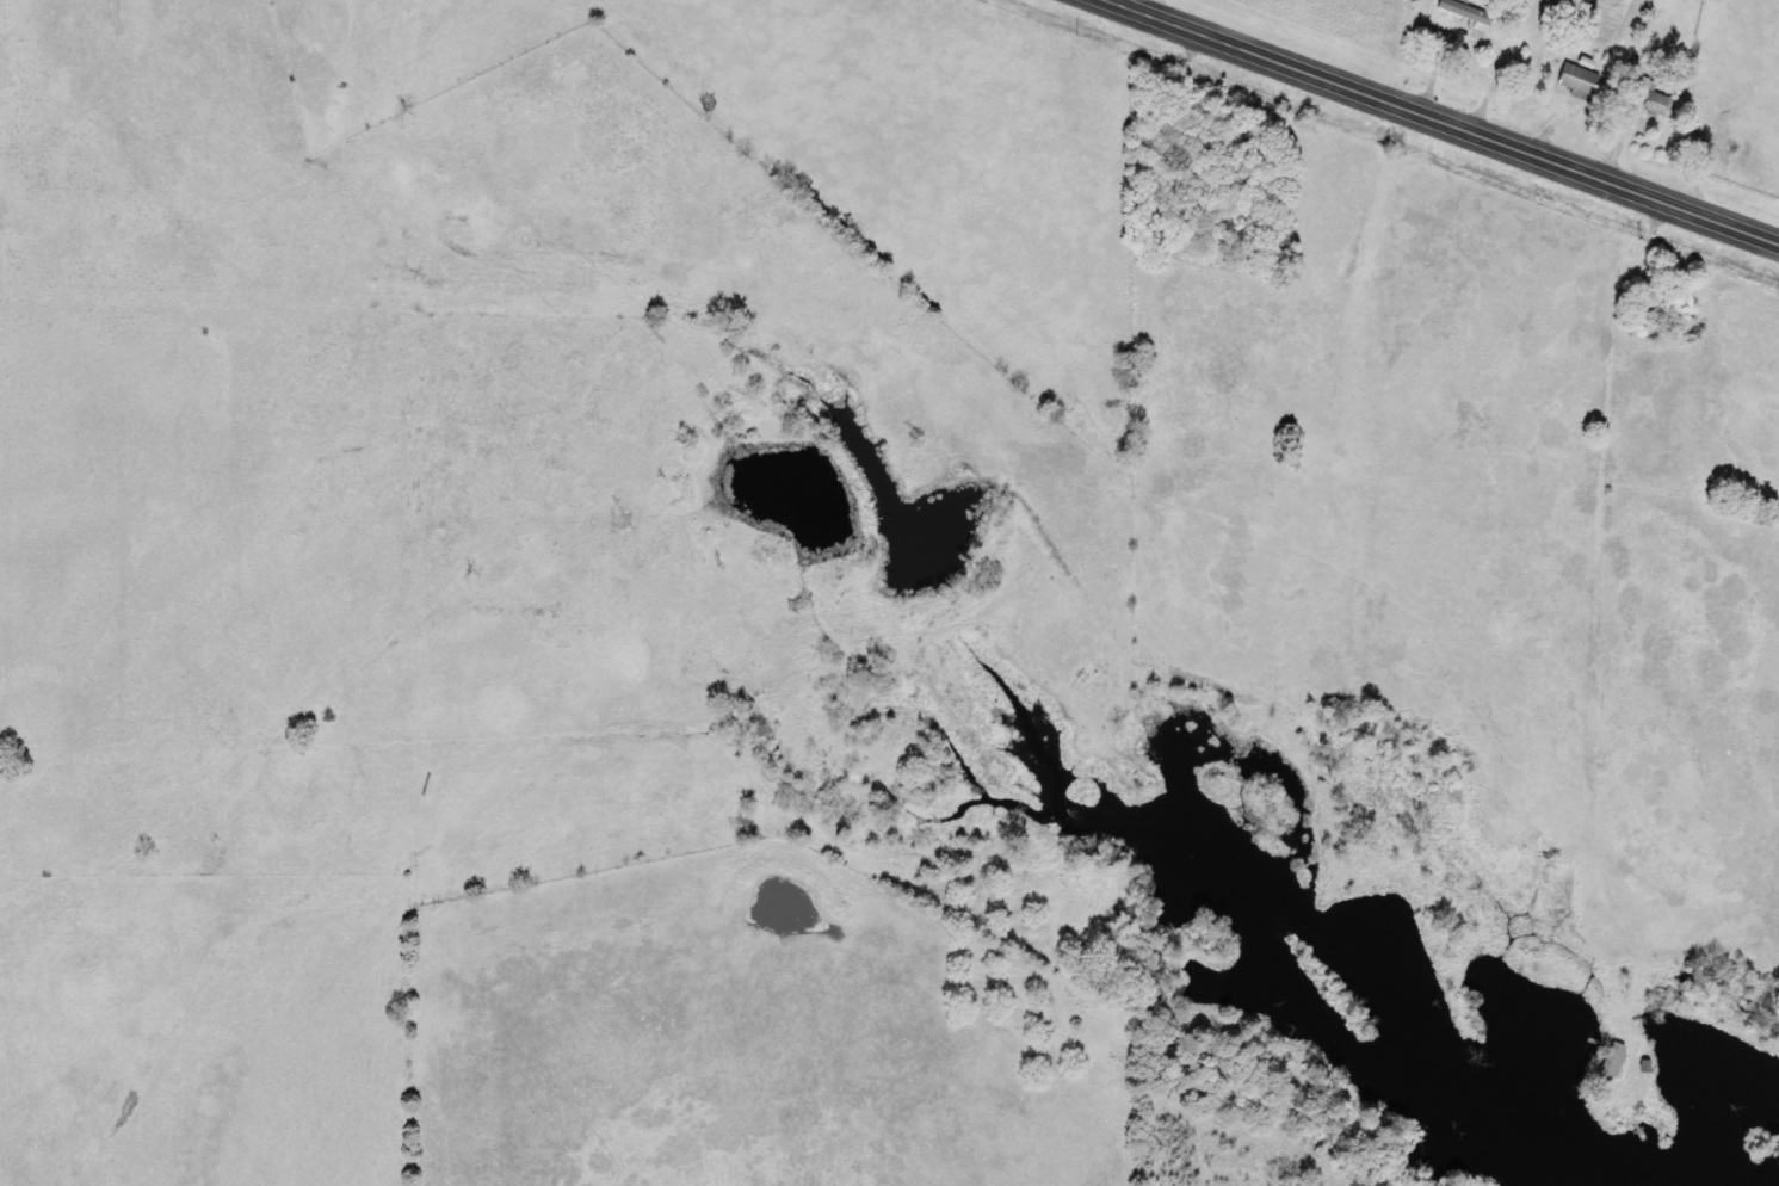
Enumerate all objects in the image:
building: (1468, 11)
building: (1581, 79)
building: (1655, 99)
road: (1437, 123)
road: (644, 290)
building: (1616, 1061)

